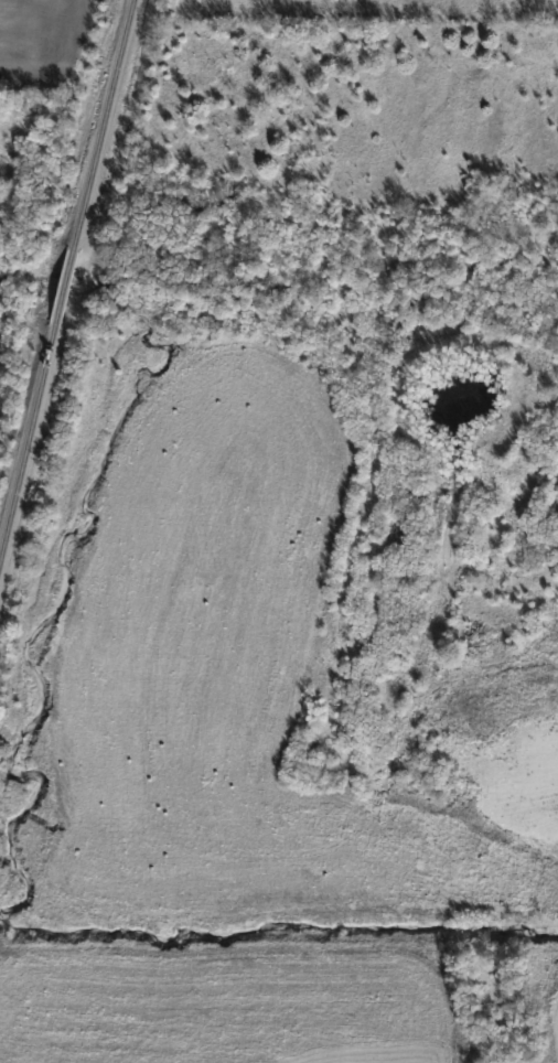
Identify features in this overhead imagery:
railway: (105, 126)
railway: (67, 289)
railway: (29, 445)

